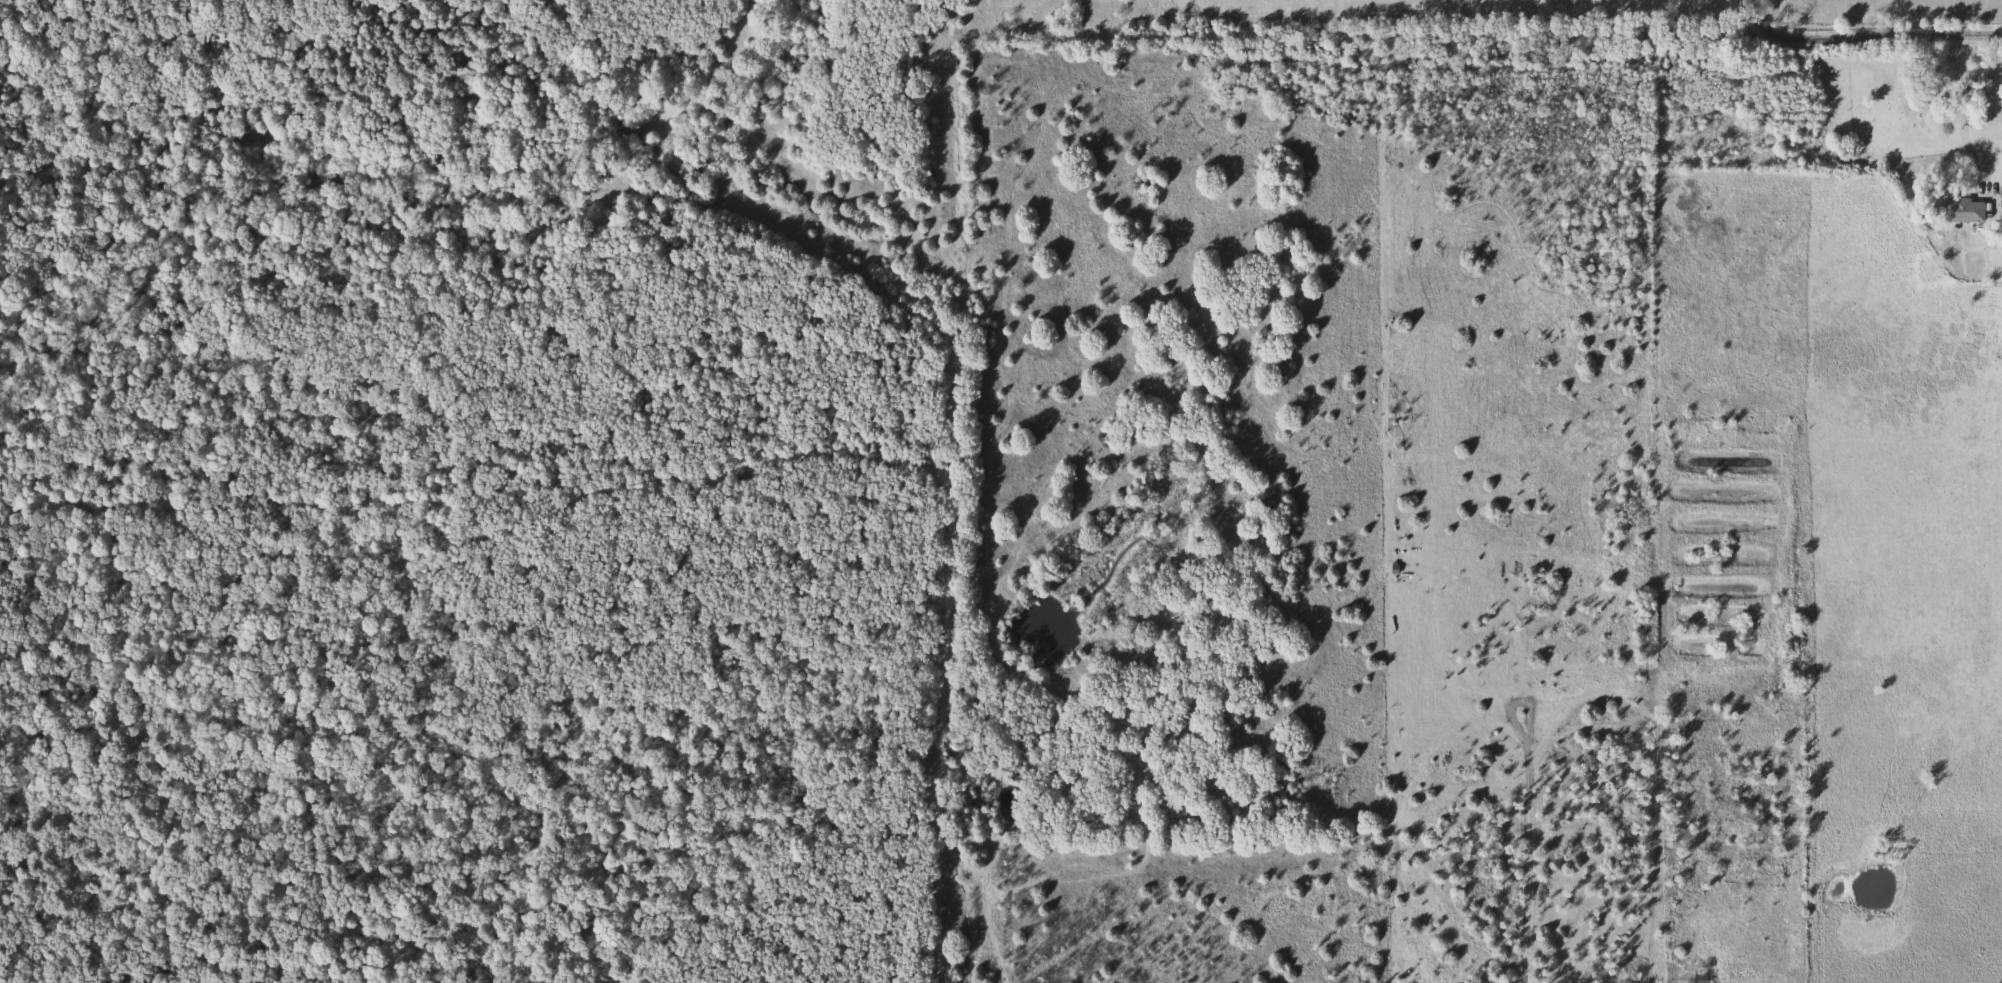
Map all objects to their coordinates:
road: (1867, 39)
road: (1973, 108)
building: (1961, 210)

